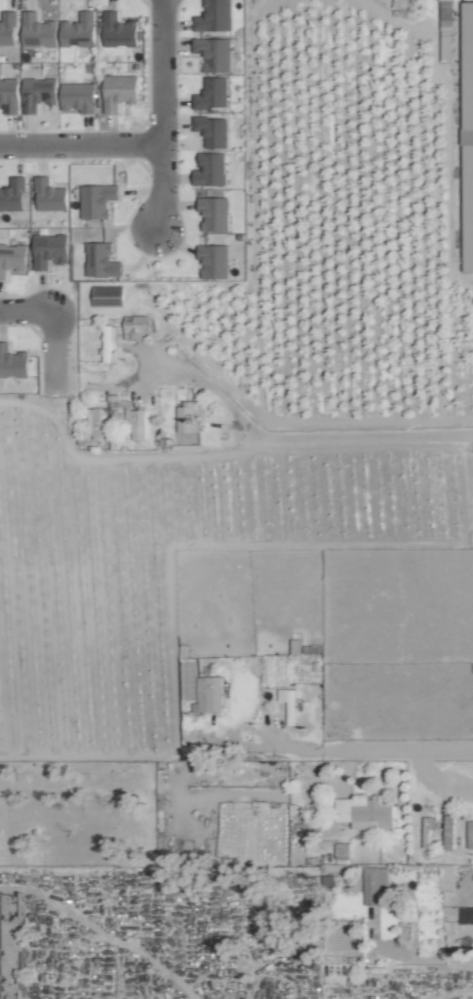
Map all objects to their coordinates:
building: (213, 16)
building: (7, 27)
building: (37, 30)
building: (78, 30)
building: (118, 30)
building: (215, 52)
road: (163, 72)
building: (467, 74)
building: (118, 91)
building: (37, 93)
building: (211, 93)
building: (9, 95)
building: (77, 96)
building: (212, 130)
road: (82, 145)
building: (210, 169)
road: (163, 187)
building: (12, 195)
building: (49, 195)
building: (96, 200)
building: (213, 213)
building: (468, 221)
building: (48, 249)
building: (12, 258)
building: (100, 260)
building: (213, 261)
building: (107, 295)
road: (26, 308)
building: (123, 333)
road: (53, 348)
building: (12, 362)
building: (186, 418)
building: (93, 423)
building: (136, 424)
road: (290, 440)
building: (209, 694)
road: (280, 748)
road: (397, 751)
building: (364, 812)
building: (427, 825)
building: (448, 832)
building: (341, 853)
building: (445, 877)
building: (374, 886)
building: (463, 919)
building: (11, 946)
road: (424, 957)

